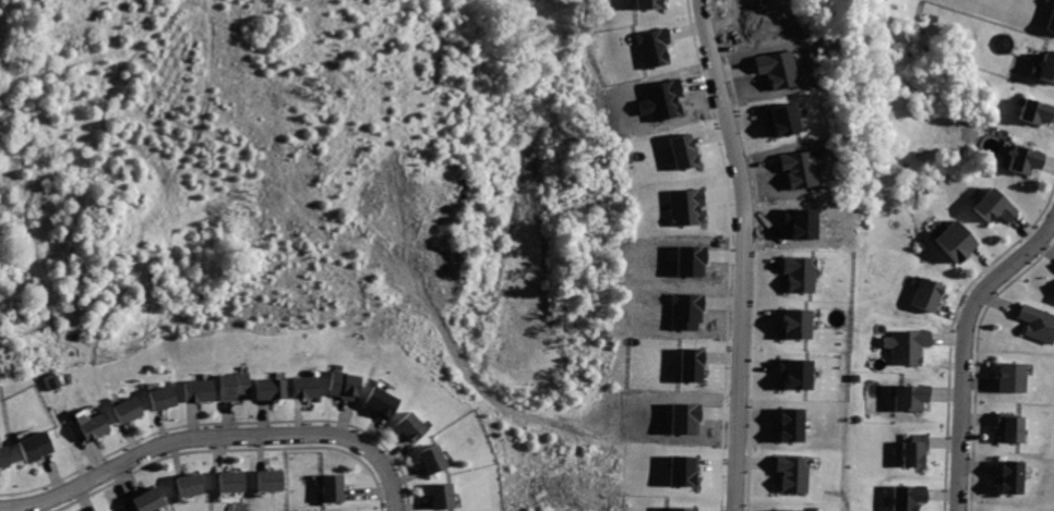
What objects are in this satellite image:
building: (647, 4)
building: (1051, 19)
building: (654, 47)
building: (778, 68)
building: (1044, 68)
building: (1033, 111)
building: (782, 119)
building: (683, 150)
building: (1020, 159)
building: (799, 168)
building: (685, 206)
building: (994, 208)
building: (950, 241)
road: (744, 253)
building: (690, 261)
building: (799, 272)
building: (1053, 292)
building: (921, 293)
building: (794, 321)
building: (1037, 324)
building: (902, 345)
road: (963, 350)
building: (690, 364)
building: (797, 373)
building: (1010, 377)
building: (50, 380)
building: (236, 385)
building: (344, 385)
building: (304, 386)
building: (272, 388)
building: (203, 390)
building: (165, 397)
building: (906, 397)
building: (380, 402)
building: (130, 410)
building: (683, 419)
building: (790, 425)
building: (1006, 426)
building: (97, 427)
building: (407, 427)
road: (215, 440)
building: (37, 446)
building: (911, 451)
building: (7, 457)
building: (429, 460)
building: (1013, 467)
building: (682, 470)
building: (792, 473)
building: (274, 479)
building: (236, 480)
building: (195, 484)
building: (328, 488)
building: (436, 496)
building: (902, 497)
building: (152, 500)
building: (675, 509)
building: (788, 510)
building: (1004, 510)

